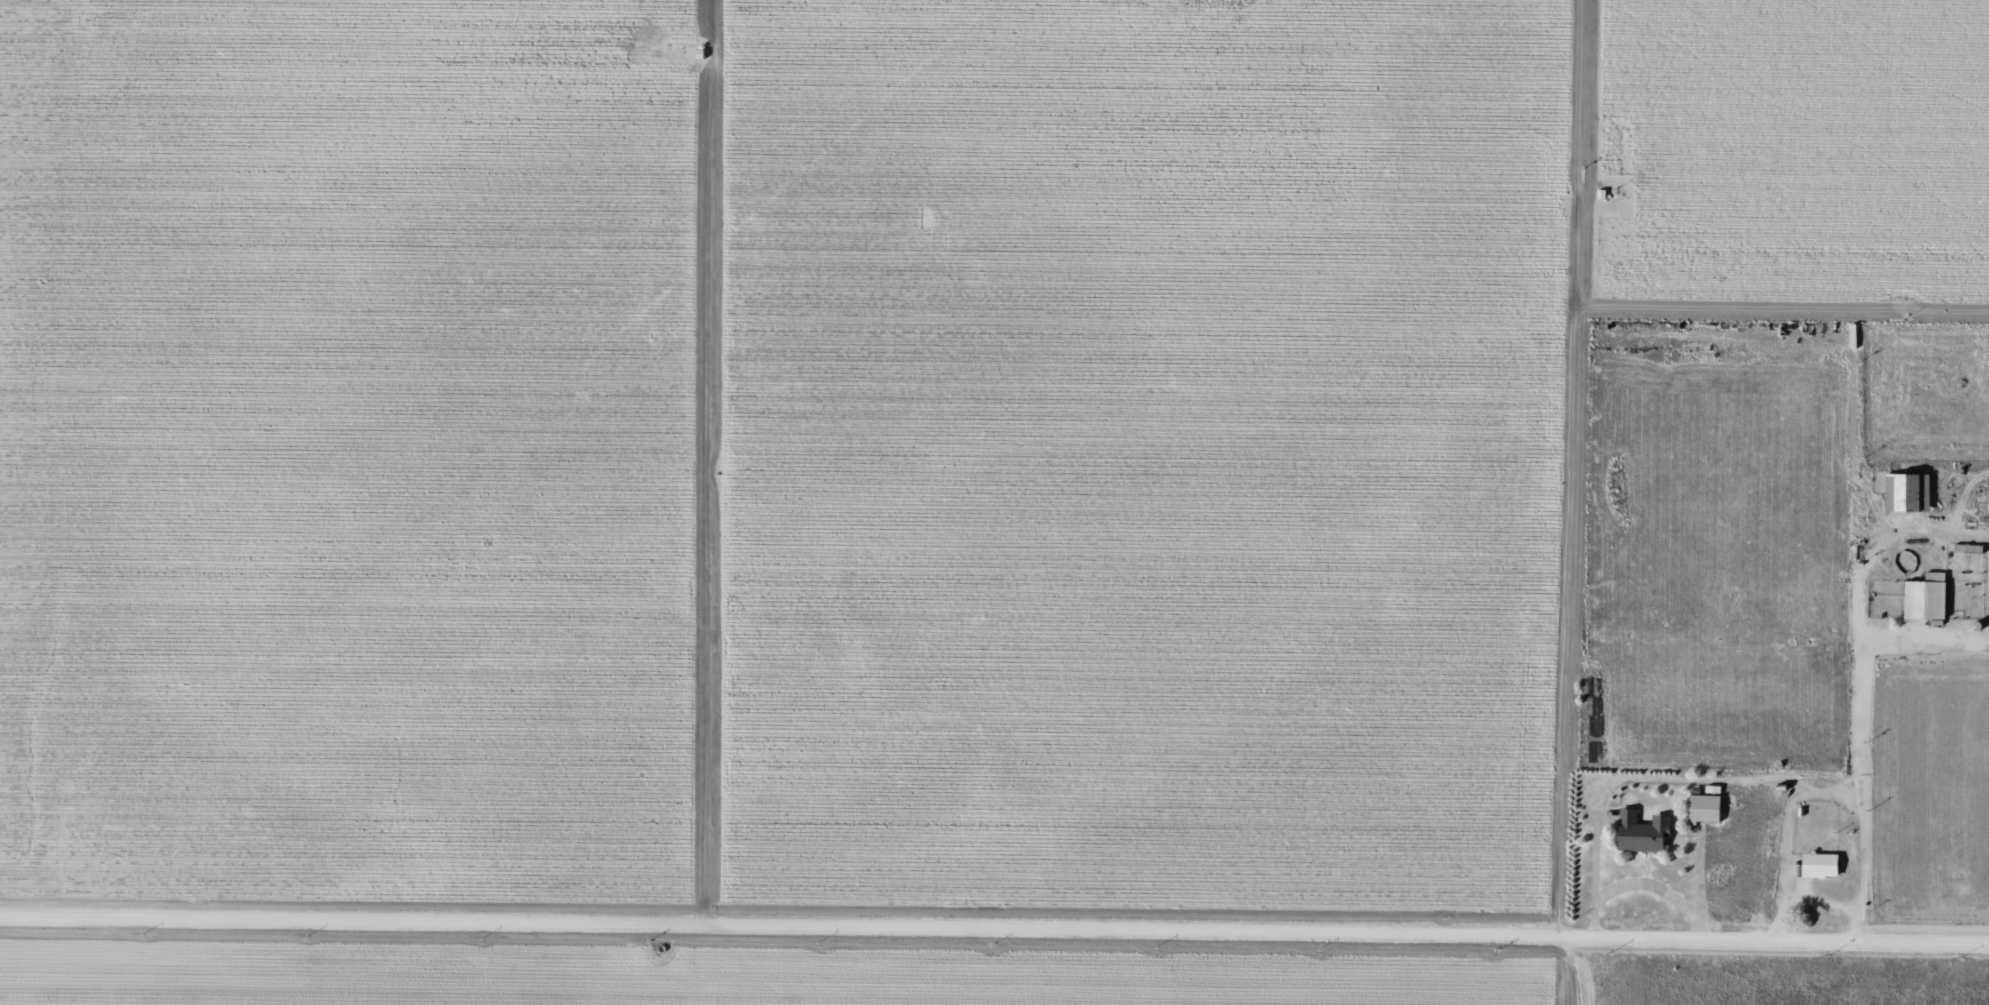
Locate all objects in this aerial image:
building: (1906, 492)
building: (1966, 548)
building: (1925, 597)
road: (1863, 752)
building: (1703, 809)
building: (1641, 832)
building: (1818, 865)
road: (1801, 900)
road: (1853, 925)
road: (994, 934)
road: (1579, 973)

